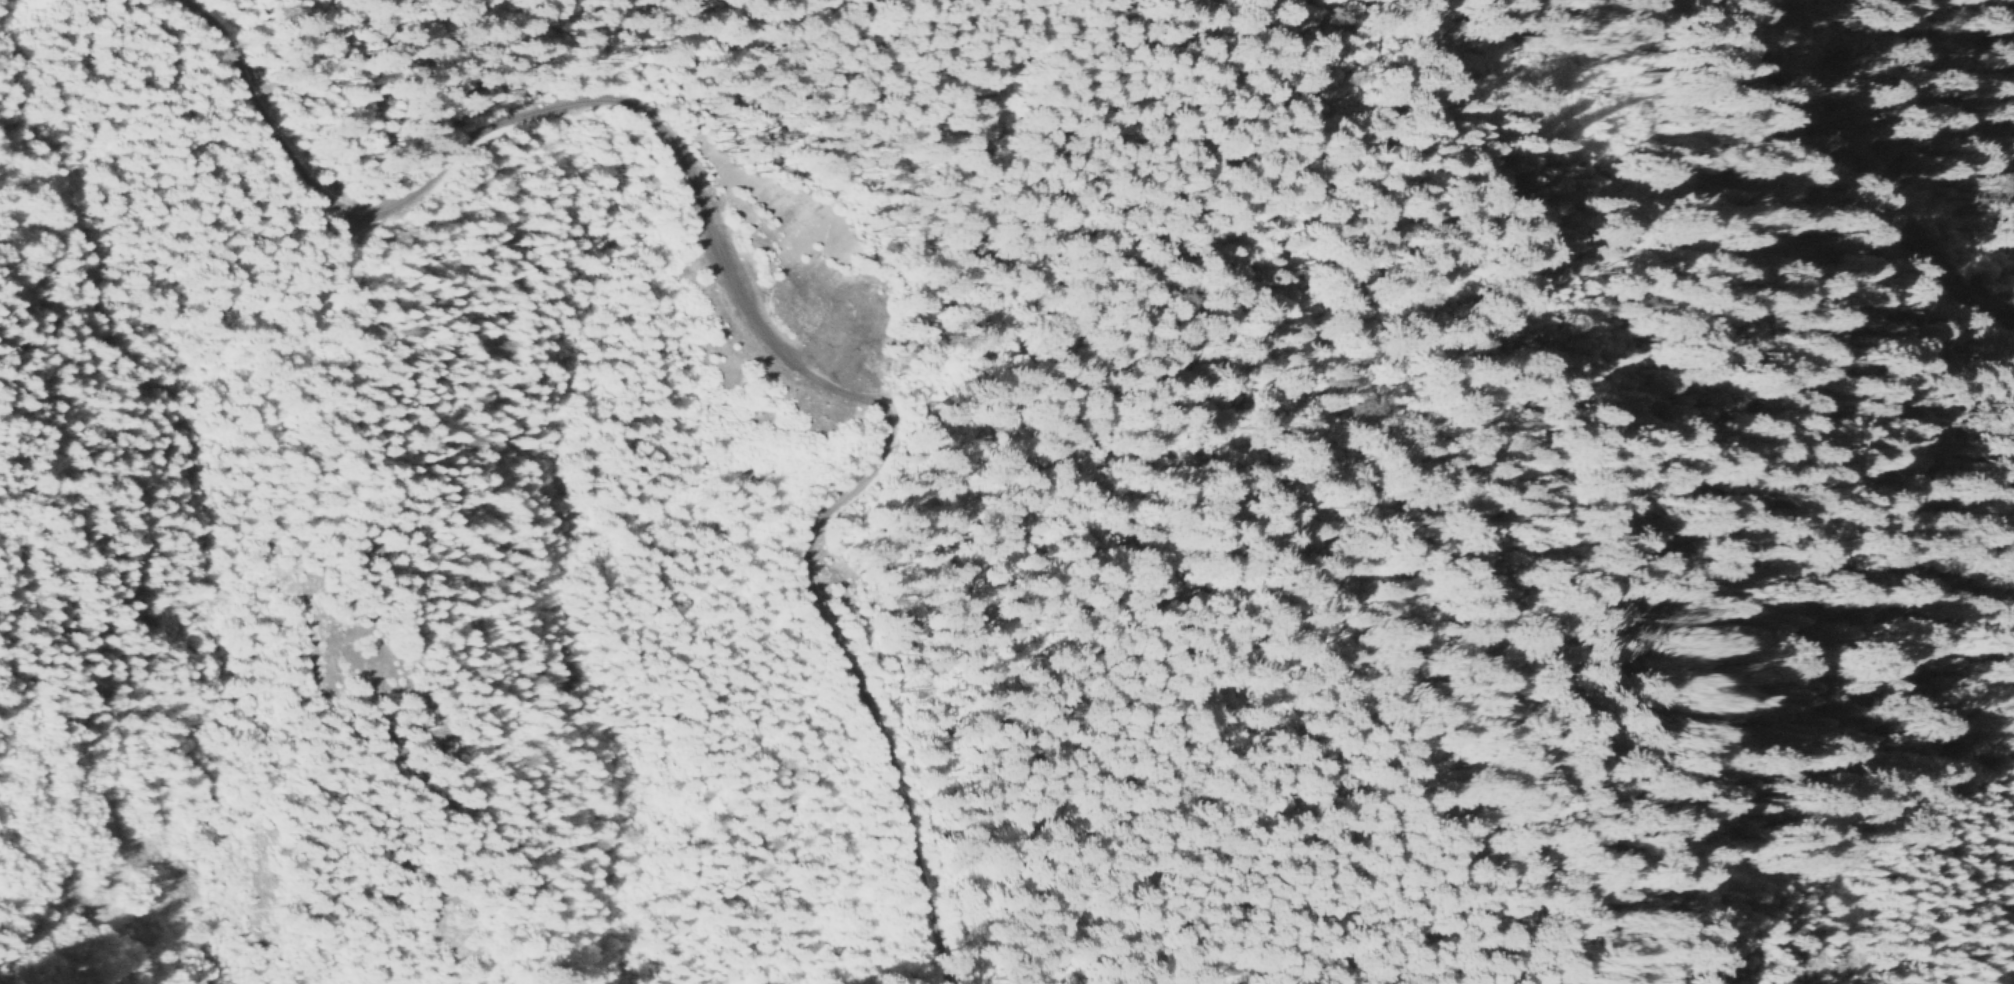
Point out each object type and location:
road: (1847, 181)
road: (734, 301)
road: (1279, 491)
road: (1992, 547)

